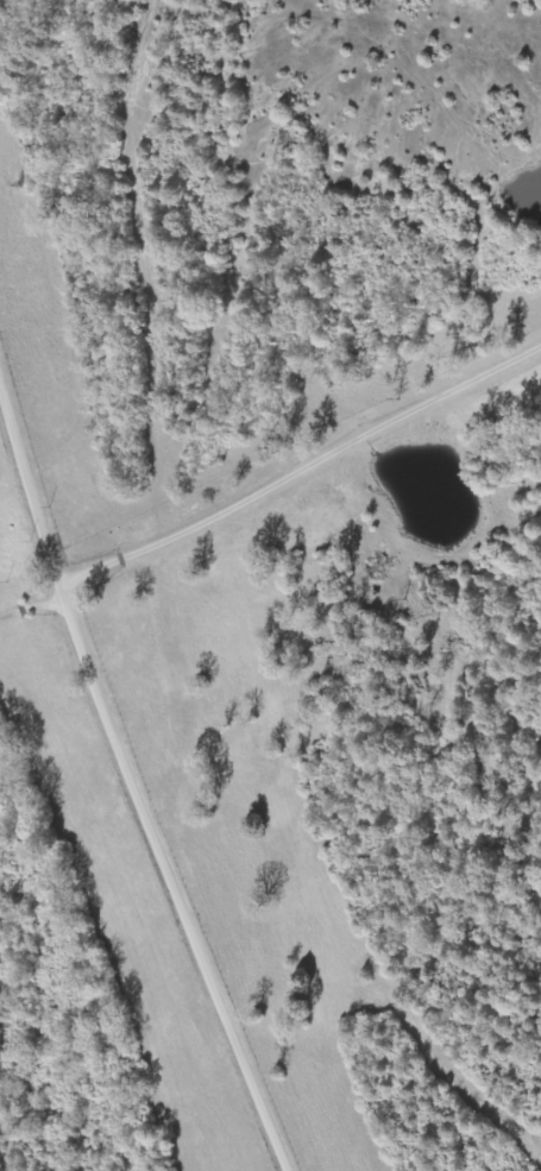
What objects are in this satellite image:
road: (131, 781)

